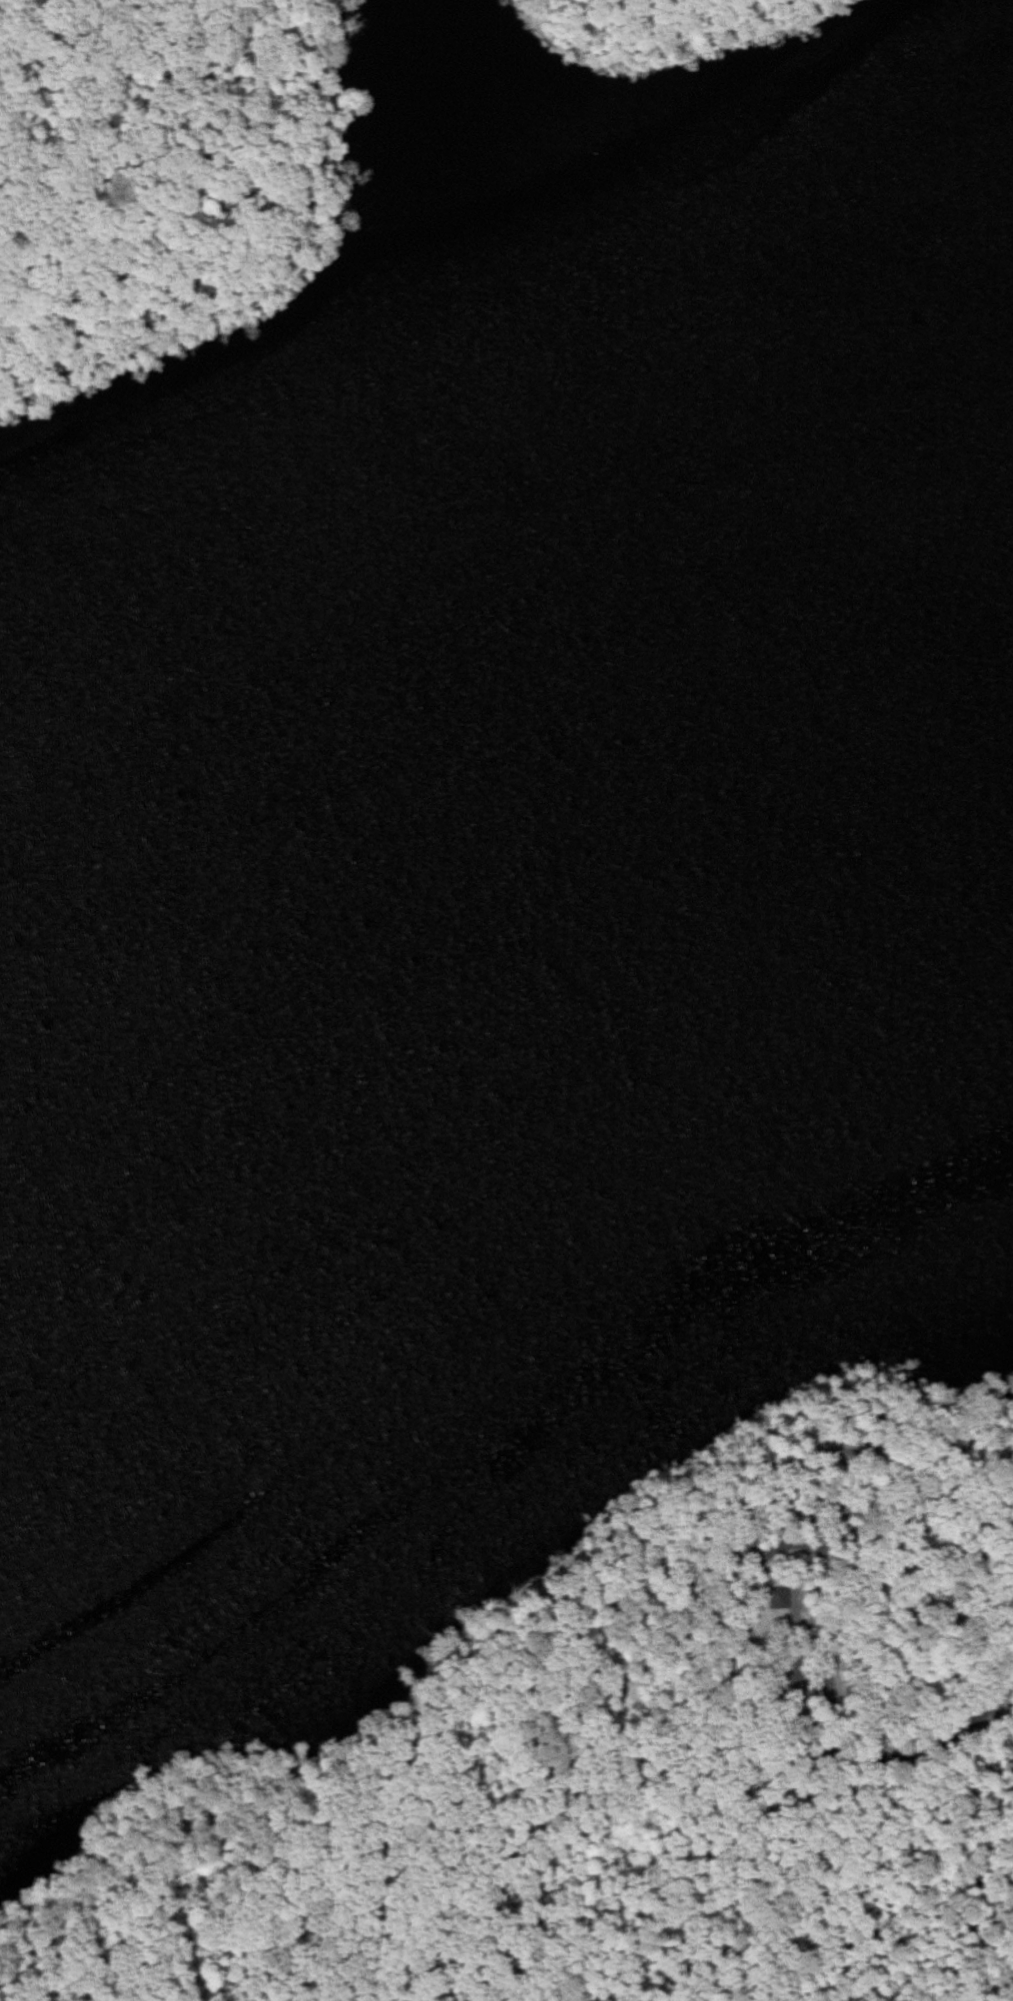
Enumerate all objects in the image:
road: (804, 1548)
building: (779, 1597)
road: (800, 1701)
road: (917, 1758)

